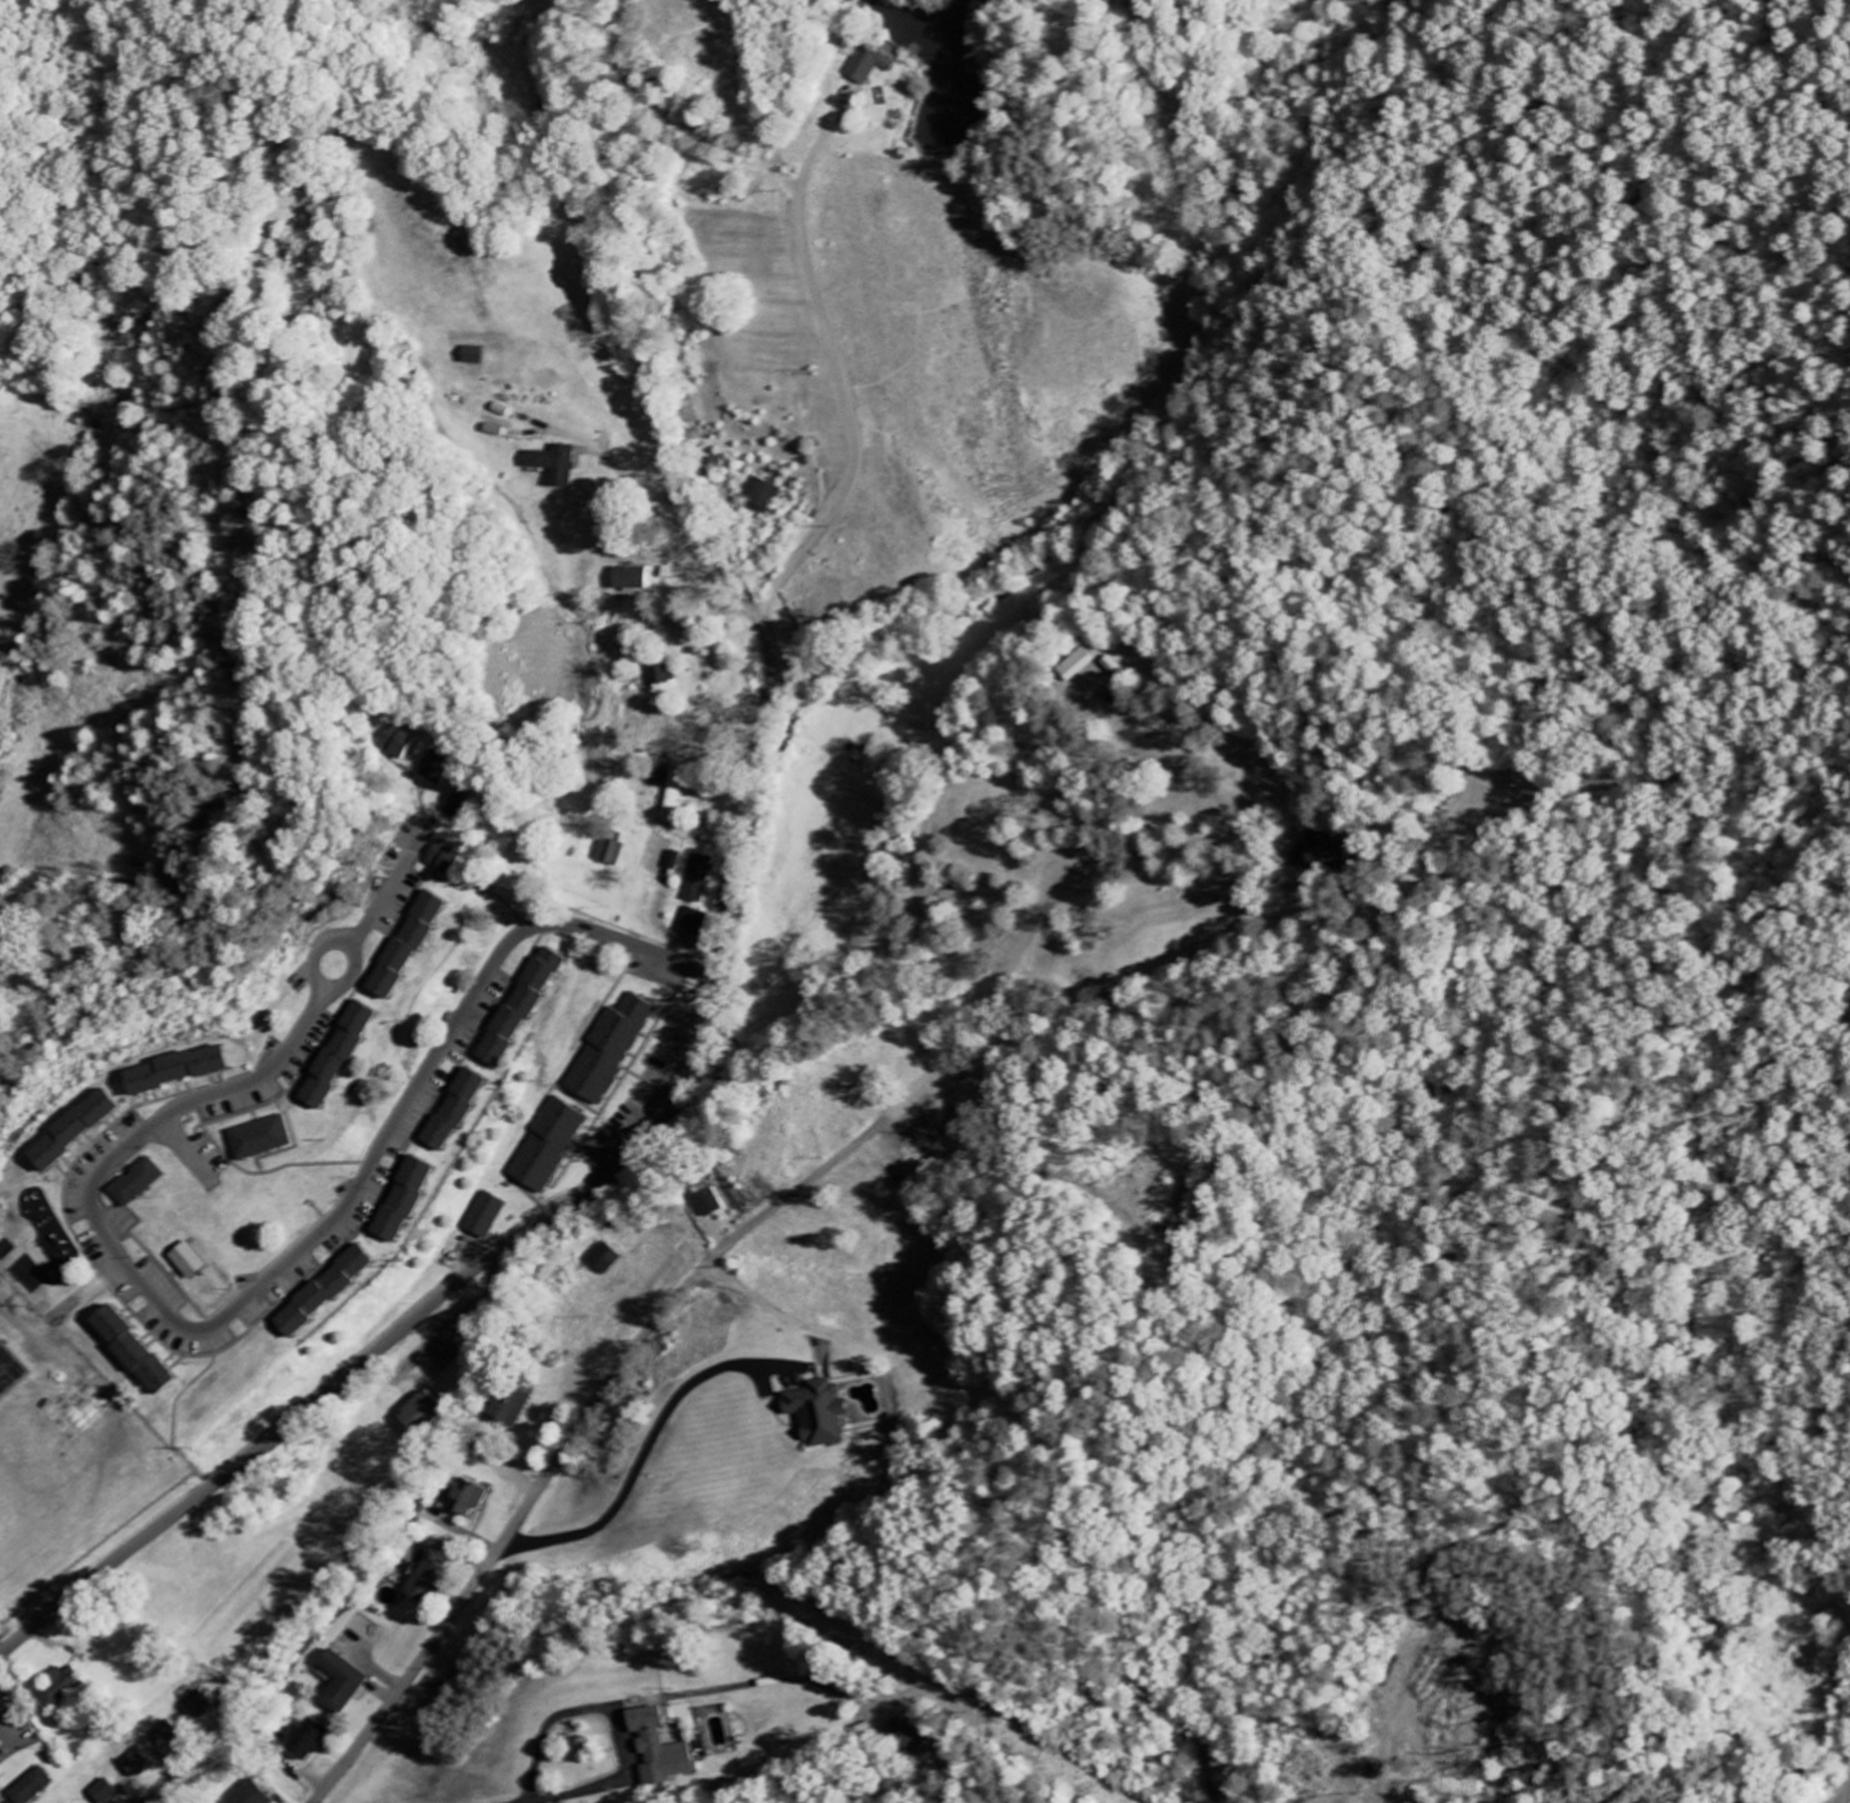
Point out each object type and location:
building: (868, 65)
building: (473, 356)
road: (839, 376)
building: (553, 466)
building: (760, 497)
road: (660, 540)
building: (632, 580)
building: (661, 675)
building: (399, 744)
building: (435, 769)
road: (742, 791)
building: (673, 792)
building: (458, 803)
building: (609, 851)
building: (1324, 851)
building: (442, 858)
building: (674, 861)
building: (697, 879)
road: (393, 884)
building: (691, 922)
building: (405, 946)
road: (684, 964)
road: (354, 976)
building: (518, 1008)
building: (606, 1050)
building: (337, 1056)
building: (176, 1069)
building: (453, 1111)
building: (72, 1130)
building: (258, 1139)
building: (546, 1146)
road: (727, 1153)
road: (674, 1166)
building: (137, 1183)
building: (708, 1199)
building: (402, 1200)
building: (484, 1216)
building: (604, 1260)
building: (185, 1261)
building: (325, 1293)
road: (232, 1317)
road: (396, 1340)
building: (130, 1351)
building: (508, 1408)
building: (419, 1414)
building: (816, 1414)
road: (579, 1437)
road: (649, 1460)
building: (463, 1499)
road: (1714, 1502)
road: (44, 1563)
building: (427, 1582)
building: (342, 1683)
building: (62, 1688)
building: (196, 1706)
road: (559, 1724)
building: (165, 1735)
building: (907, 1739)
building: (307, 1740)
building: (660, 1748)
road: (184, 1759)
building: (136, 1764)
building: (32, 1787)
building: (105, 1792)
road: (1842, 1793)
building: (250, 1795)

